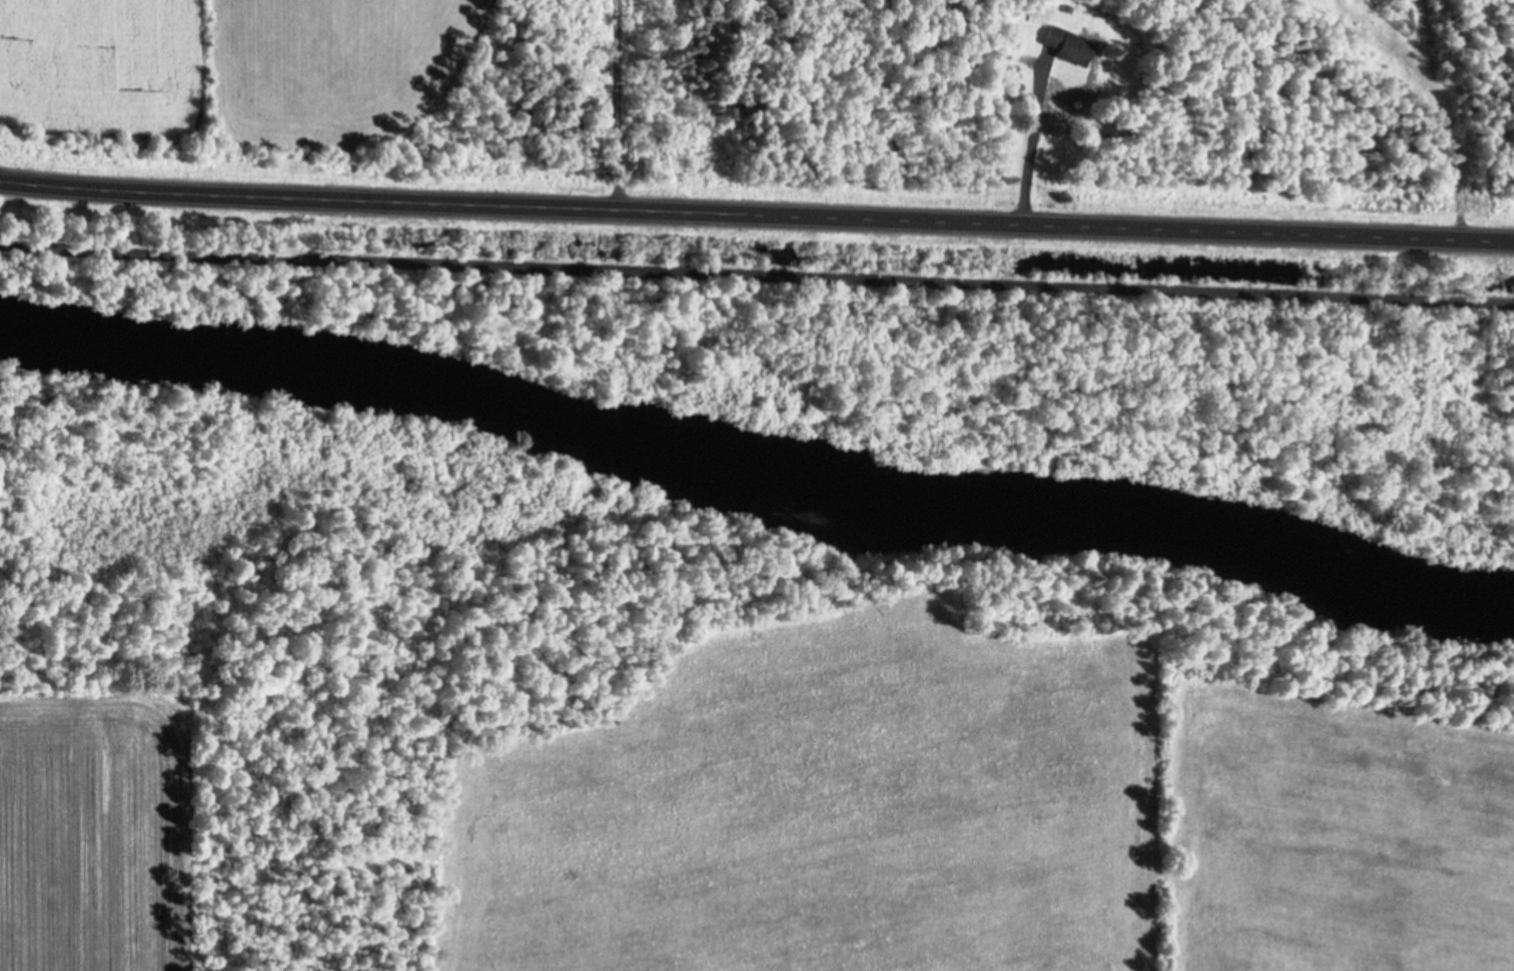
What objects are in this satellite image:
building: (1070, 43)
road: (620, 104)
road: (756, 212)
road: (756, 272)
river: (752, 478)

